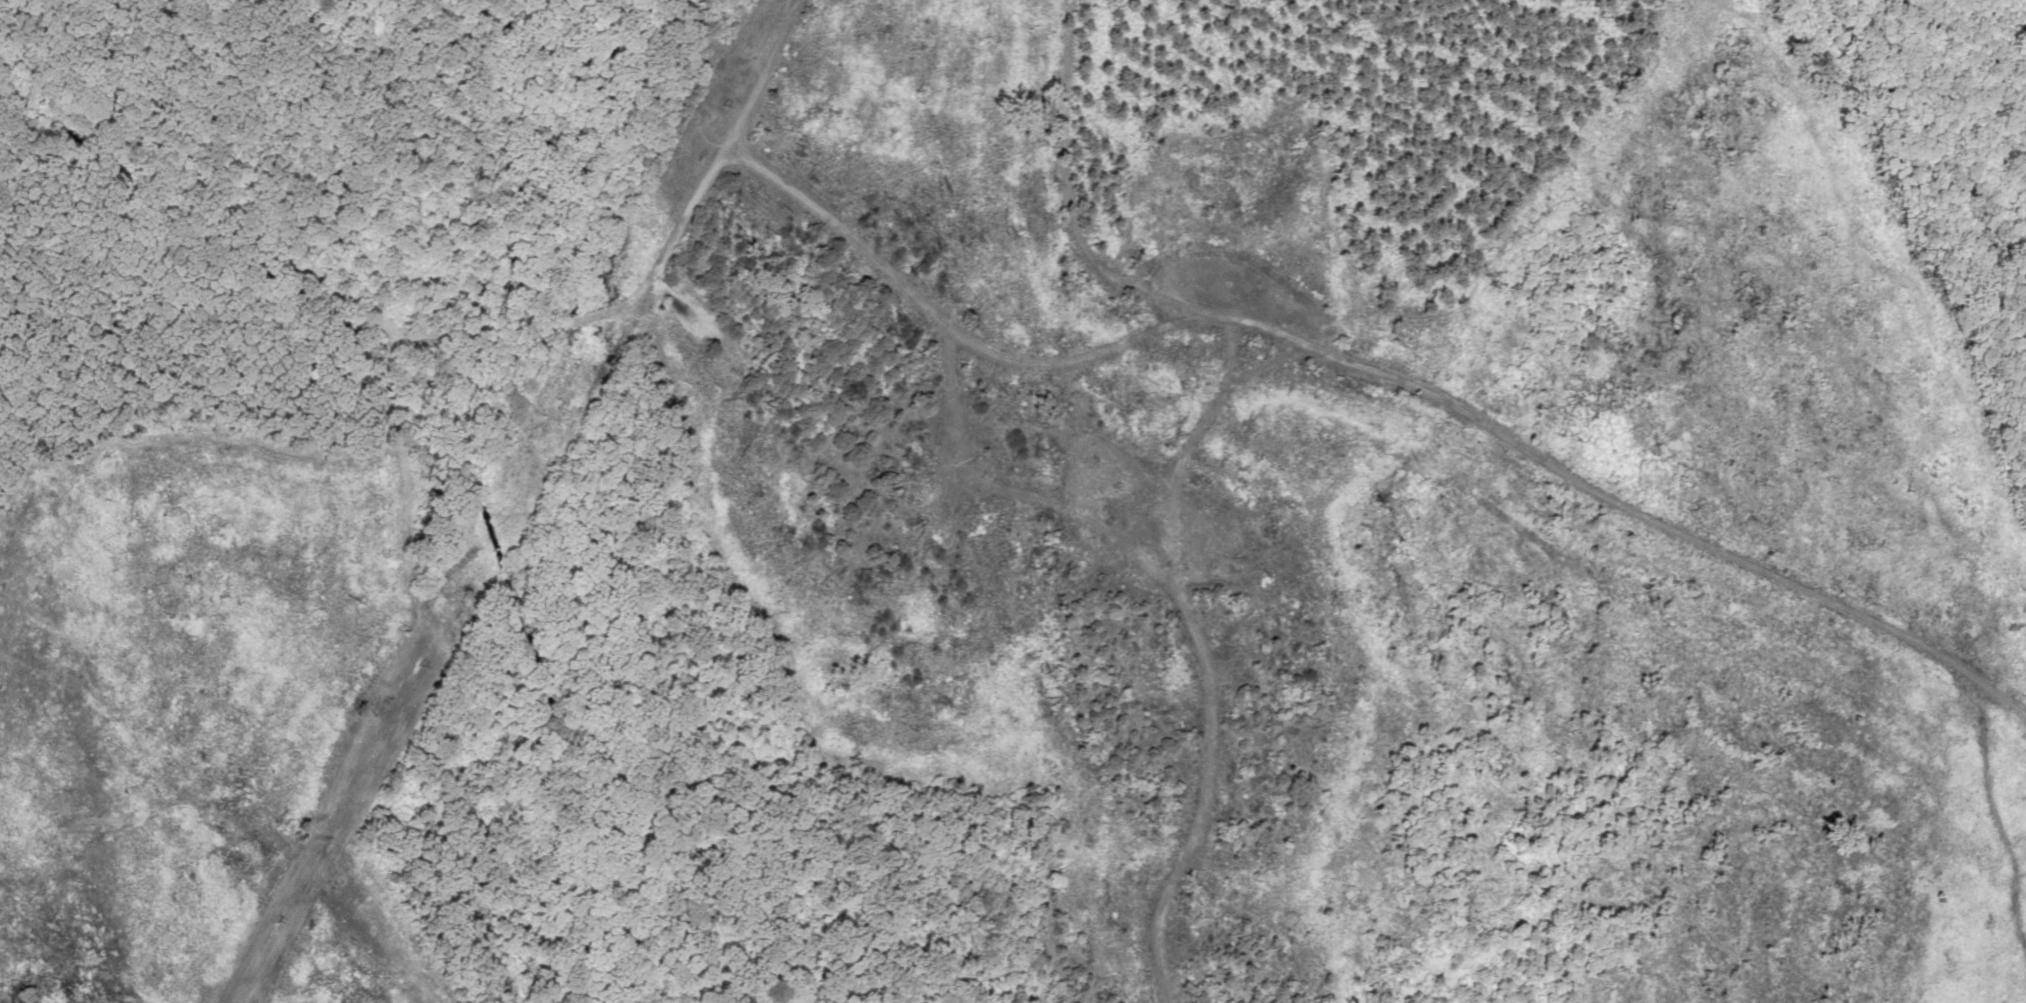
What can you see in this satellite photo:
road: (84, 434)
road: (1600, 444)

